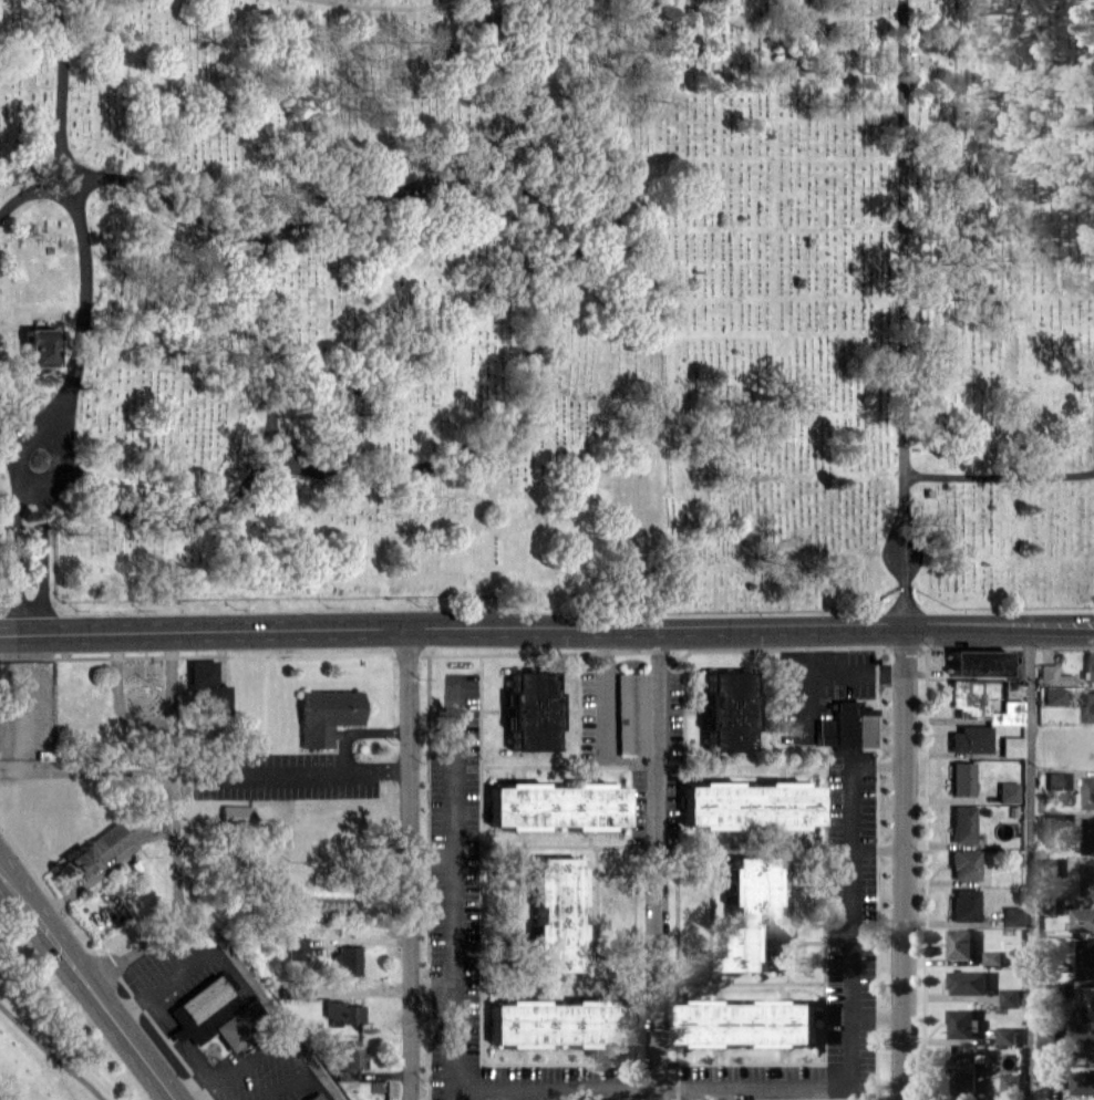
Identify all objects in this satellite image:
road: (453, 3)
road: (425, 4)
road: (62, 85)
road: (60, 191)
road: (261, 235)
road: (904, 237)
road: (248, 253)
park: (326, 298)
park: (874, 303)
road: (83, 307)
building: (38, 346)
road: (531, 350)
road: (266, 450)
road: (19, 456)
building: (37, 458)
road: (920, 474)
road: (17, 553)
road: (44, 558)
road: (546, 629)
building: (977, 662)
building: (1088, 665)
building: (1053, 675)
building: (205, 686)
building: (1053, 695)
road: (605, 697)
building: (980, 704)
building: (1087, 707)
building: (530, 709)
building: (726, 710)
building: (631, 713)
building: (324, 715)
building: (846, 727)
road: (358, 731)
building: (969, 739)
building: (1010, 746)
road: (285, 769)
building: (960, 778)
building: (1055, 779)
building: (1007, 791)
building: (1088, 791)
building: (749, 805)
building: (555, 806)
building: (235, 814)
building: (1056, 820)
building: (961, 823)
building: (1088, 836)
road: (878, 849)
building: (92, 851)
road: (431, 858)
road: (410, 862)
road: (905, 864)
building: (963, 864)
road: (1029, 864)
road: (658, 866)
building: (1087, 879)
road: (176, 885)
building: (962, 904)
building: (750, 913)
building: (554, 914)
building: (1010, 916)
building: (1082, 919)
building: (960, 943)
building: (297, 947)
road: (135, 948)
building: (993, 957)
building: (1085, 958)
building: (347, 959)
road: (168, 979)
building: (968, 982)
road: (89, 983)
building: (1010, 997)
building: (1088, 1004)
building: (343, 1011)
road: (878, 1016)
building: (555, 1023)
building: (749, 1023)
building: (962, 1023)
building: (1047, 1032)
building: (1007, 1035)
building: (1081, 1044)
road: (50, 1054)
building: (348, 1056)
road: (242, 1065)
building: (1054, 1078)
road: (285, 1079)
building: (1083, 1081)
building: (1010, 1082)
road: (630, 1092)
building: (313, 1097)

